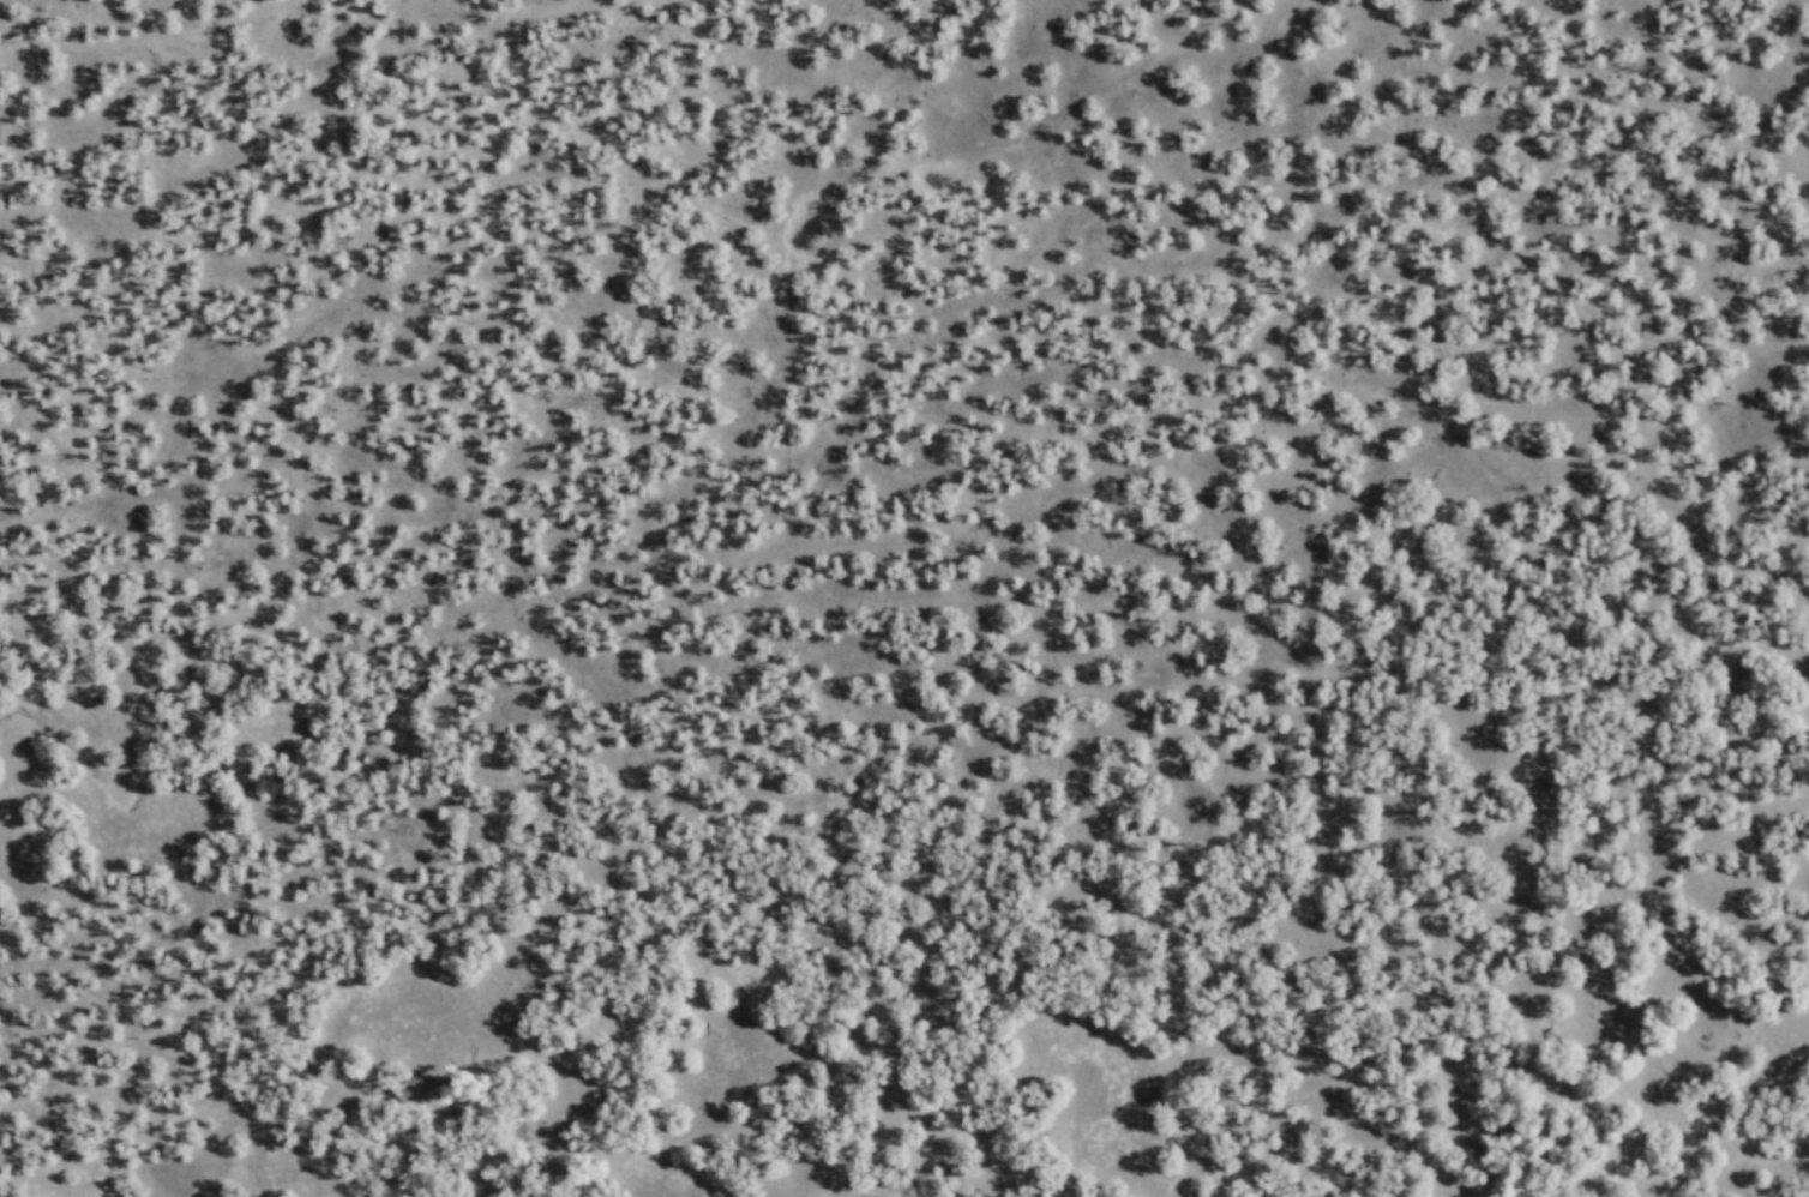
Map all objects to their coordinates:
road: (1803, 1193)

